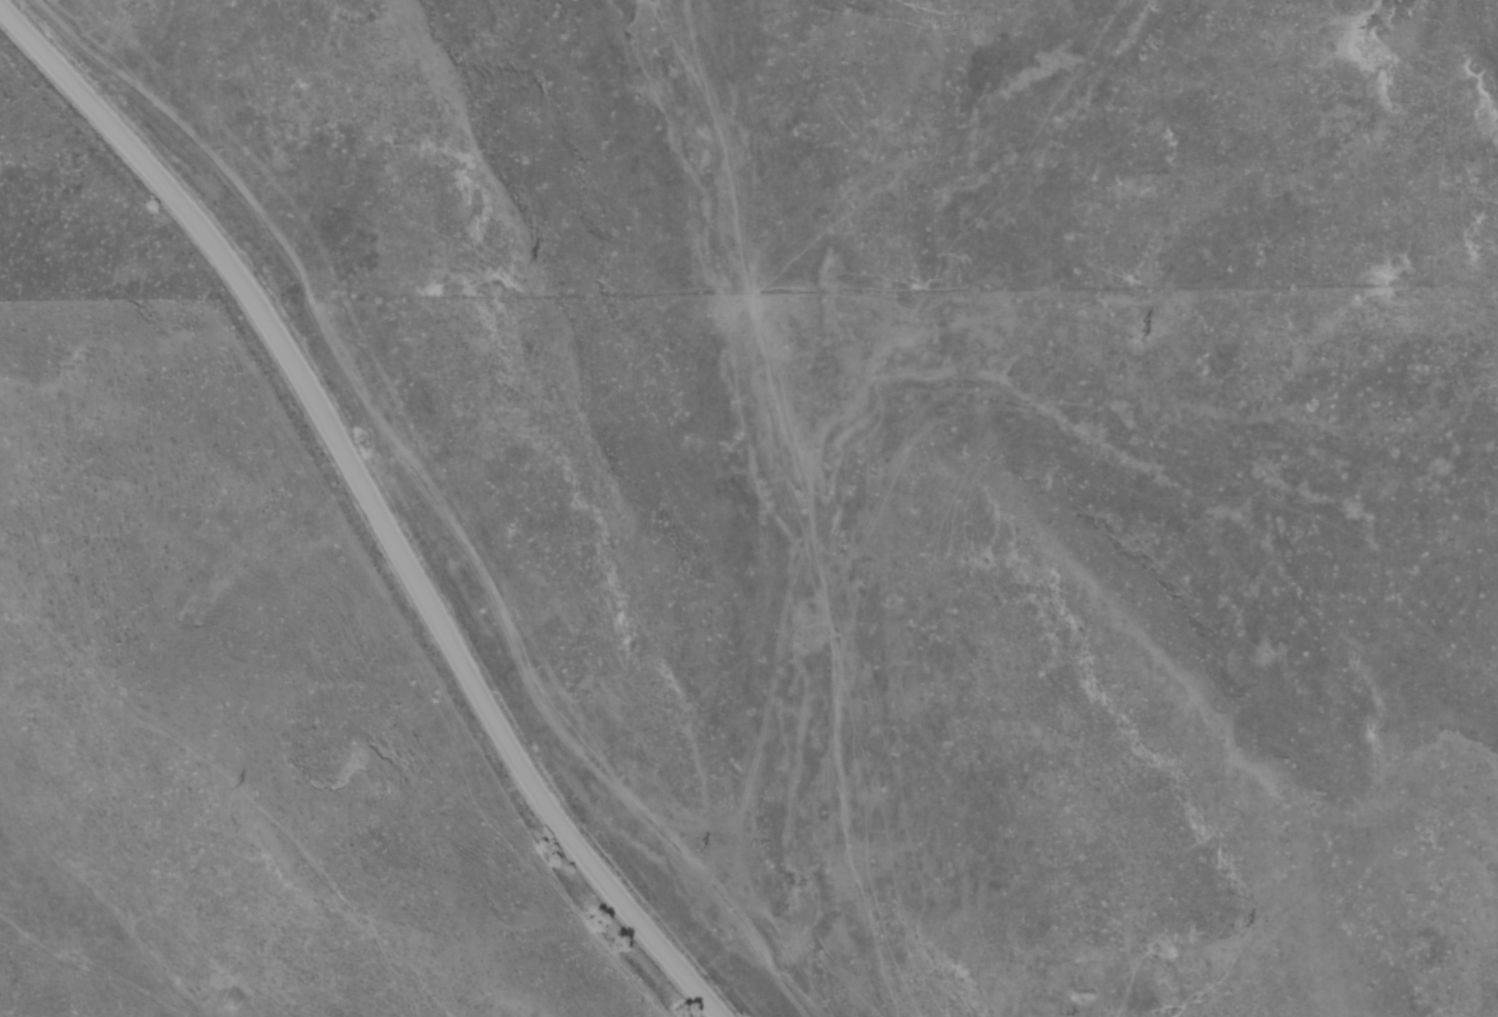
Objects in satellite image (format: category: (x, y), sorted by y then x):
power tower: (526, 261)
power tower: (1139, 333)
road: (378, 500)

